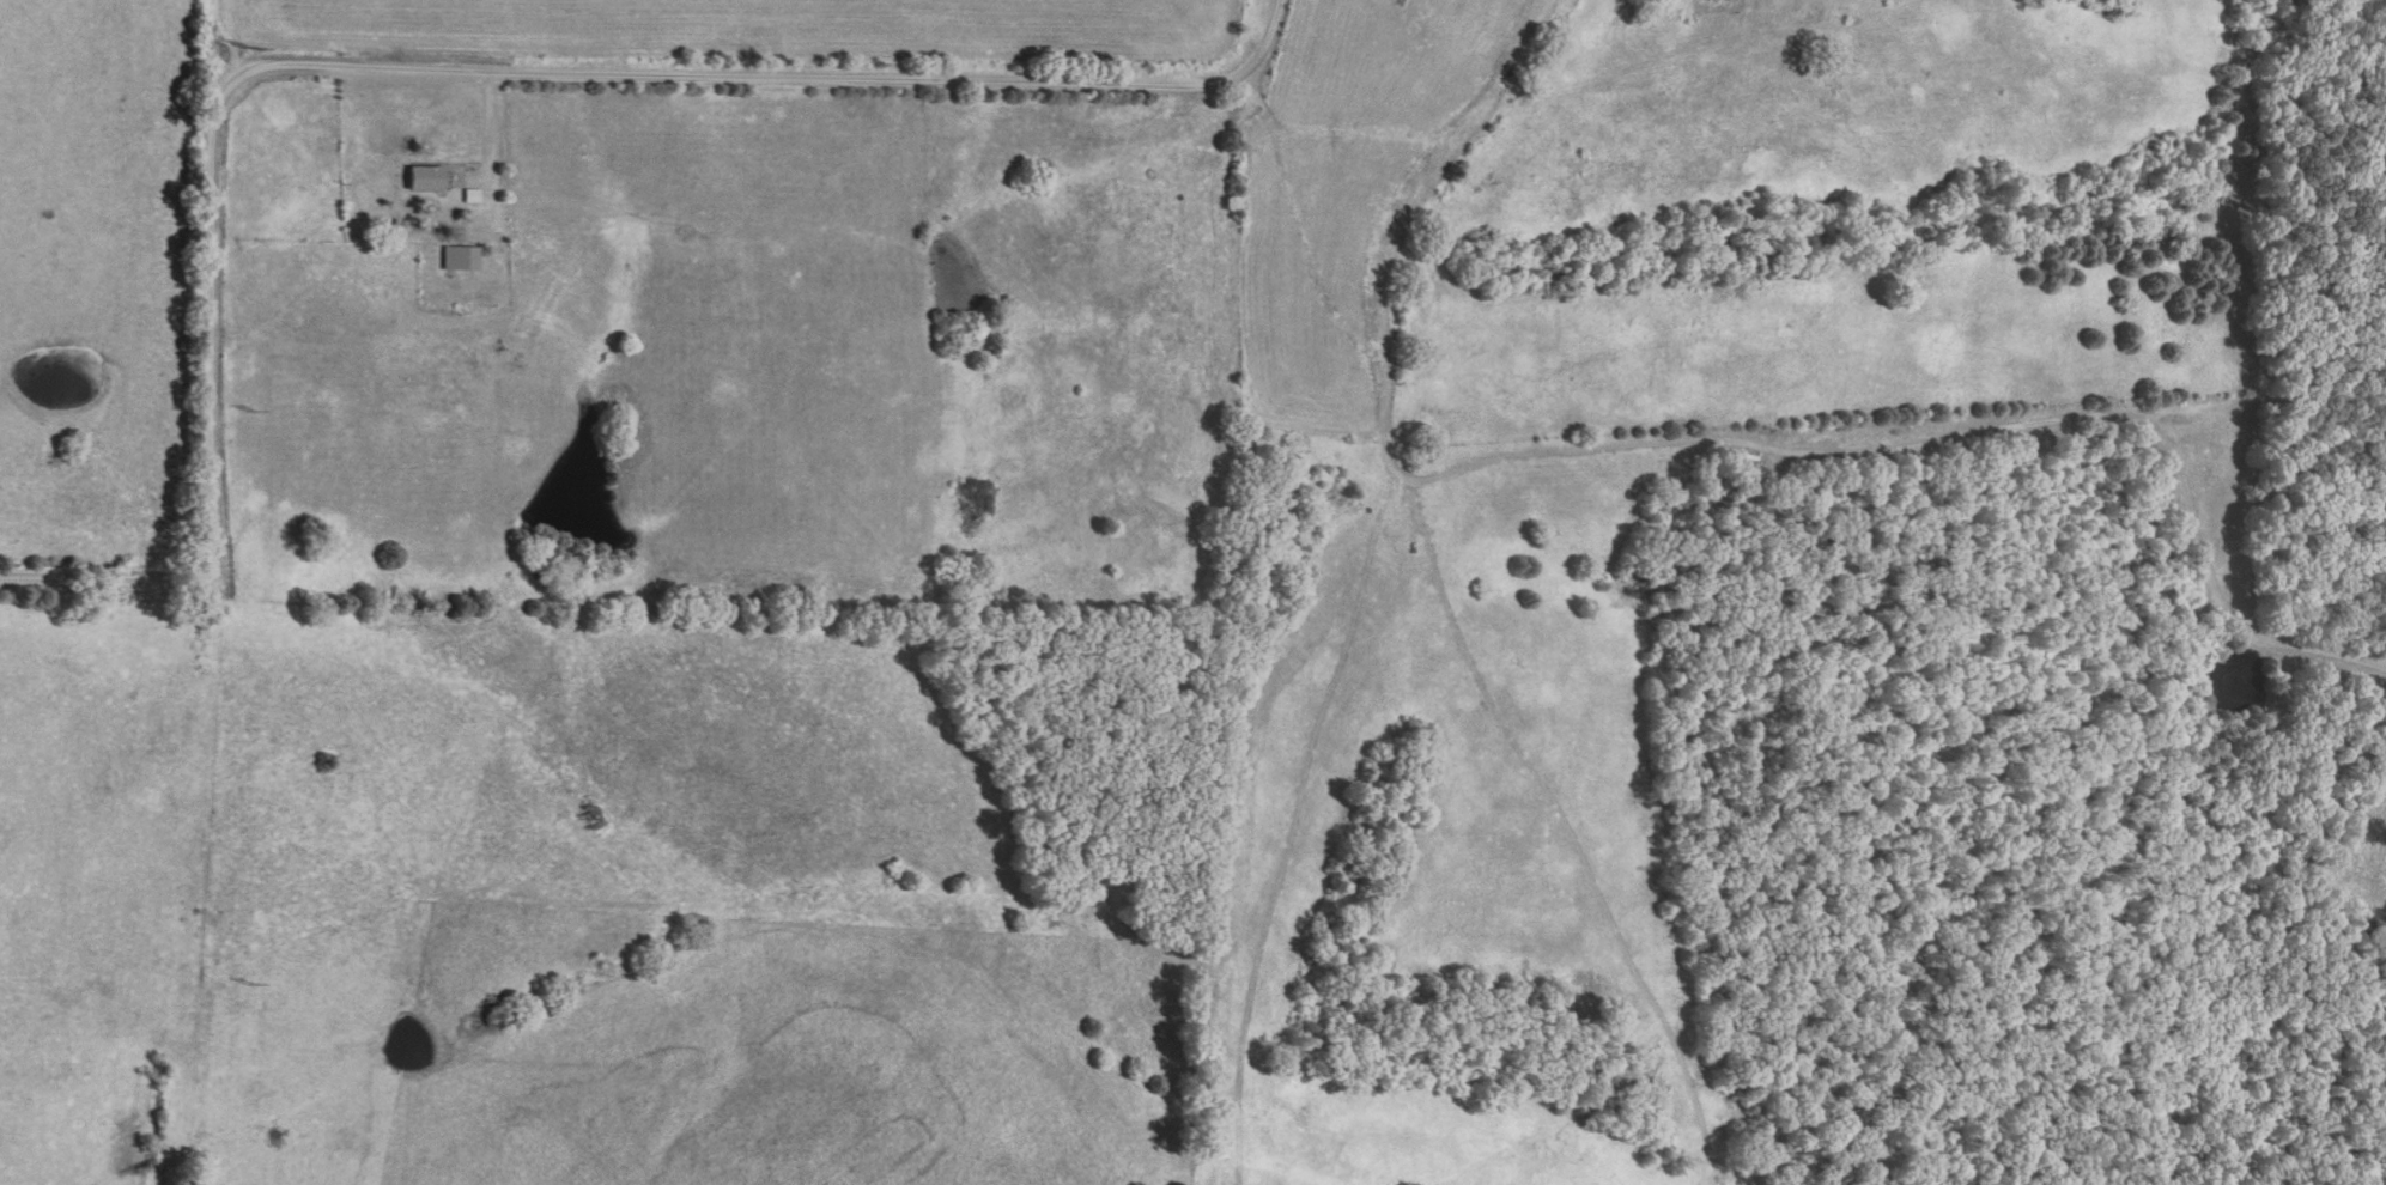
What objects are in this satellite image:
road: (456, 79)
building: (424, 176)
building: (472, 194)
building: (459, 256)

